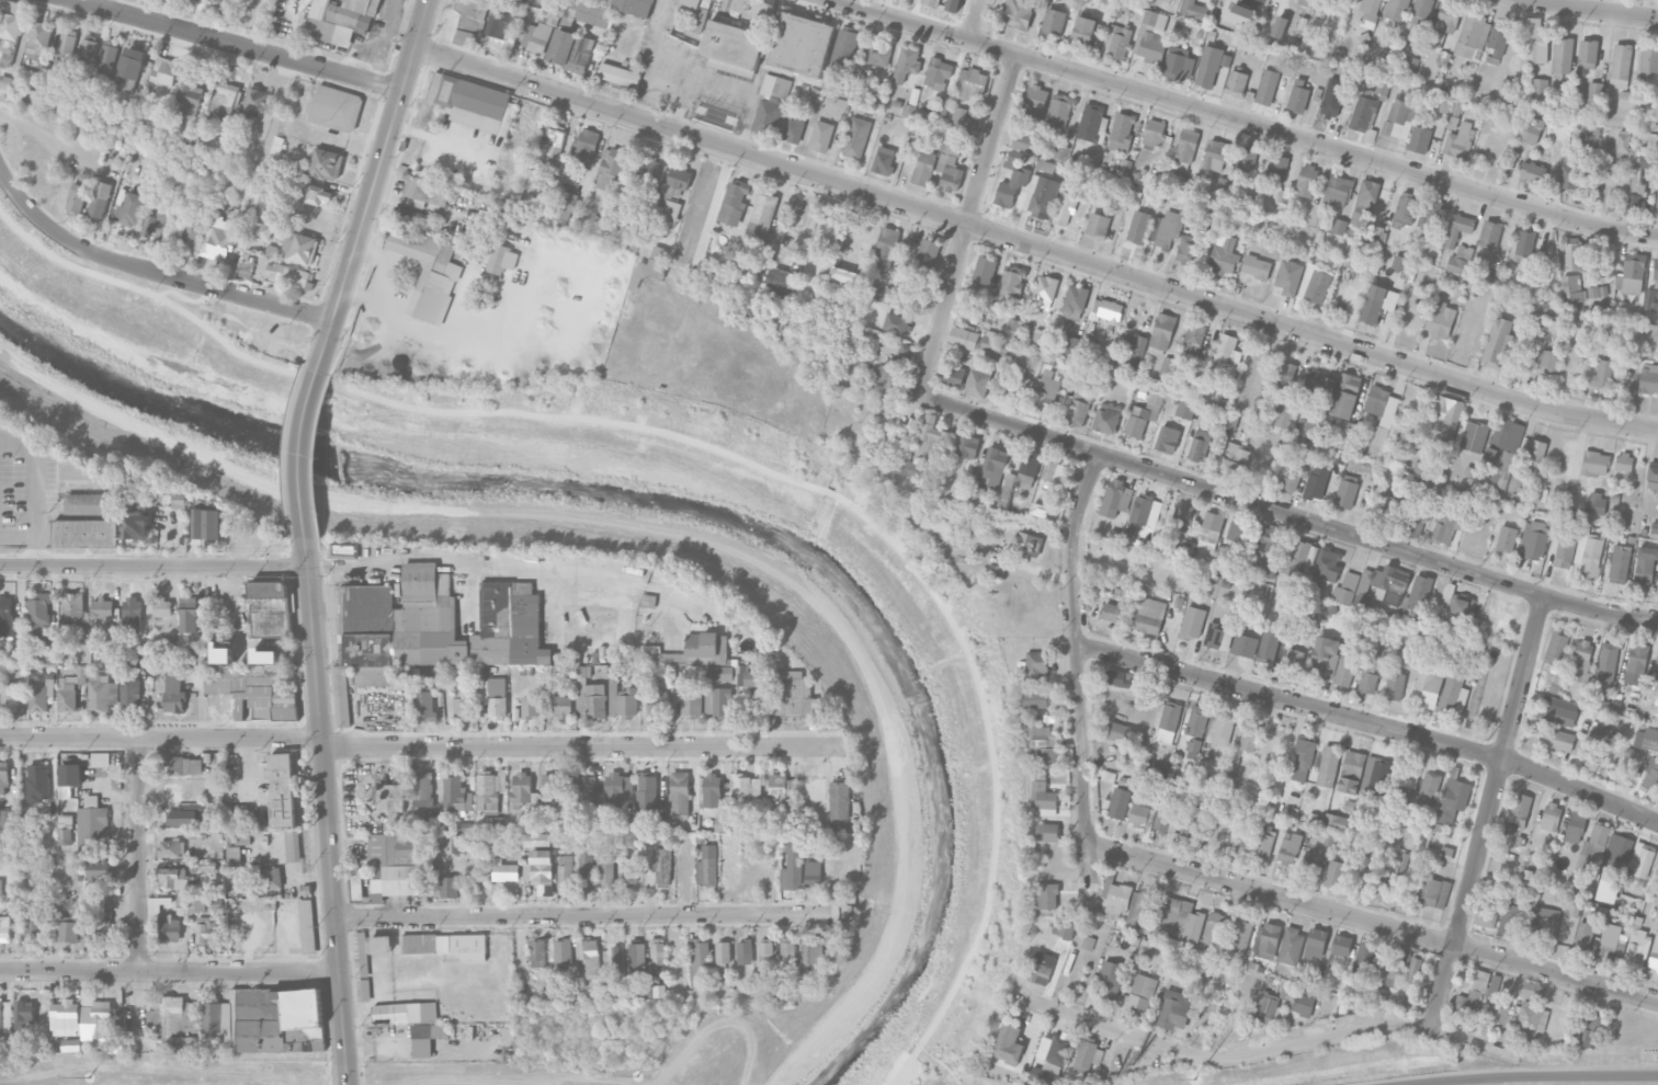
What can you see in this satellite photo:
building: (219, 2)
building: (606, 2)
building: (931, 2)
building: (1306, 2)
building: (635, 7)
building: (1398, 8)
building: (752, 9)
building: (1192, 9)
road: (1593, 9)
building: (1420, 11)
building: (1369, 12)
building: (1018, 13)
building: (693, 14)
building: (1449, 16)
building: (340, 18)
building: (591, 18)
road: (973, 19)
building: (469, 21)
building: (498, 21)
building: (1053, 22)
building: (1279, 26)
building: (11, 28)
building: (1087, 30)
building: (537, 35)
building: (1151, 36)
building: (1473, 36)
building: (1435, 41)
building: (1498, 41)
building: (1115, 42)
building: (1536, 42)
building: (38, 44)
building: (802, 44)
building: (844, 45)
road: (240, 47)
building: (89, 48)
building: (733, 48)
building: (570, 49)
building: (66, 53)
building: (878, 53)
building: (1587, 54)
building: (109, 56)
building: (1563, 57)
building: (1649, 59)
building: (1178, 62)
road: (649, 64)
building: (907, 64)
building: (1411, 64)
building: (1211, 65)
building: (1621, 66)
building: (129, 68)
building: (166, 71)
building: (938, 73)
building: (618, 75)
road: (736, 80)
building: (5, 81)
building: (970, 82)
building: (1236, 83)
building: (1540, 85)
building: (1267, 87)
building: (1594, 89)
building: (191, 93)
building: (1298, 96)
building: (224, 98)
building: (1036, 98)
building: (1625, 98)
building: (474, 102)
building: (254, 103)
building: (771, 104)
building: (1367, 104)
building: (334, 107)
building: (1333, 107)
building: (942, 110)
building: (1059, 110)
road: (678, 115)
building: (1399, 115)
building: (963, 116)
road: (1247, 121)
building: (1091, 123)
road: (1625, 125)
building: (794, 127)
building: (1531, 132)
building: (1122, 133)
building: (1156, 134)
building: (820, 135)
building: (856, 137)
building: (556, 138)
building: (1589, 138)
road: (440, 139)
building: (1024, 139)
building: (1419, 139)
road: (52, 140)
building: (1458, 140)
building: (1622, 144)
building: (1185, 145)
building: (584, 146)
building: (1060, 151)
building: (1215, 155)
building: (1247, 158)
building: (884, 160)
building: (1646, 160)
building: (326, 162)
building: (950, 163)
building: (610, 164)
building: (648, 167)
building: (1276, 167)
building: (923, 168)
building: (1533, 171)
building: (271, 172)
building: (1571, 172)
building: (1011, 180)
building: (1306, 181)
building: (1634, 181)
road: (373, 184)
building: (674, 184)
building: (420, 187)
building: (1337, 191)
building: (1610, 192)
building: (317, 194)
building: (1040, 195)
building: (76, 198)
building: (99, 199)
building: (734, 202)
building: (1632, 203)
building: (1657, 203)
building: (567, 205)
building: (1362, 207)
building: (130, 209)
building: (1065, 209)
building: (1404, 209)
building: (1211, 212)
building: (1429, 214)
building: (668, 217)
building: (761, 217)
road: (967, 224)
building: (154, 225)
building: (1098, 225)
building: (1339, 226)
building: (1138, 227)
building: (1458, 228)
building: (1166, 229)
building: (259, 230)
building: (827, 230)
building: (1490, 235)
building: (189, 239)
building: (220, 239)
building: (1524, 242)
road: (1034, 244)
building: (298, 247)
building: (885, 248)
building: (1188, 250)
building: (658, 252)
building: (927, 254)
building: (1575, 254)
building: (1224, 255)
building: (501, 259)
building: (1460, 260)
building: (1400, 263)
building: (759, 265)
building: (425, 266)
building: (1256, 266)
building: (246, 269)
road: (148, 271)
building: (984, 271)
building: (647, 272)
building: (1490, 273)
building: (1633, 273)
building: (1656, 274)
building: (288, 275)
building: (1288, 276)
building: (841, 277)
road: (530, 282)
building: (780, 282)
building: (1012, 282)
building: (1315, 284)
building: (1572, 289)
building: (1044, 292)
building: (1597, 292)
road: (195, 294)
building: (1076, 298)
building: (1650, 299)
building: (1377, 302)
building: (1105, 310)
building: (1440, 319)
building: (1161, 334)
building: (1040, 336)
building: (1194, 336)
building: (963, 338)
building: (1499, 340)
building: (1069, 344)
building: (896, 353)
building: (1226, 356)
building: (1547, 361)
building: (1165, 368)
building: (954, 375)
building: (1602, 375)
building: (1283, 376)
building: (1648, 378)
building: (978, 380)
building: (884, 382)
building: (1318, 388)
building: (1017, 389)
building: (1045, 392)
building: (1345, 395)
building: (1079, 407)
building: (1185, 409)
building: (1449, 409)
building: (1283, 414)
building: (1143, 415)
building: (1106, 418)
building: (1379, 419)
building: (1310, 426)
building: (932, 430)
building: (1344, 434)
building: (1472, 435)
building: (1167, 438)
building: (1200, 445)
building: (1304, 445)
building: (967, 446)
road: (729, 448)
road: (303, 449)
building: (1503, 452)
building: (1535, 454)
building: (1235, 459)
building: (1595, 462)
building: (1624, 462)
building: (1359, 465)
building: (993, 466)
building: (908, 467)
building: (1424, 469)
building: (1653, 470)
building: (1053, 475)
building: (1020, 477)
building: (1291, 478)
building: (1515, 480)
building: (1316, 483)
building: (1347, 490)
road: (33, 492)
building: (975, 494)
building: (1657, 495)
building: (1115, 498)
building: (181, 501)
building: (1594, 502)
building: (87, 503)
building: (1385, 504)
building: (1143, 509)
road: (1286, 513)
building: (1181, 516)
building: (1449, 521)
building: (205, 523)
building: (1415, 523)
building: (136, 524)
building: (1237, 528)
building: (1654, 528)
building: (1208, 532)
building: (86, 533)
building: (1506, 538)
building: (1268, 539)
building: (1532, 539)
building: (1026, 542)
building: (344, 549)
building: (1565, 549)
road: (35, 550)
building: (1588, 553)
building: (1297, 558)
building: (1619, 563)
building: (1327, 564)
road: (152, 566)
road: (566, 566)
building: (1646, 566)
building: (1263, 567)
building: (1382, 585)
building: (1347, 589)
building: (1420, 591)
building: (162, 607)
building: (270, 607)
building: (73, 608)
building: (104, 608)
building: (1456, 608)
building: (38, 610)
building: (1110, 612)
building: (189, 614)
building: (1148, 615)
building: (7, 616)
building: (132, 617)
building: (1192, 623)
building: (436, 626)
building: (1218, 637)
building: (1245, 644)
building: (1268, 644)
building: (65, 647)
building: (1556, 649)
building: (696, 651)
building: (46, 655)
building: (1324, 655)
building: (140, 659)
building: (193, 659)
building: (1294, 660)
building: (1580, 661)
building: (1608, 662)
building: (1636, 663)
building: (1036, 664)
building: (1345, 664)
road: (1077, 667)
building: (1656, 667)
building: (718, 673)
building: (740, 674)
building: (1117, 677)
building: (753, 678)
building: (1367, 682)
building: (1556, 683)
building: (1428, 684)
building: (1395, 685)
building: (174, 690)
building: (101, 693)
building: (129, 693)
building: (248, 693)
building: (791, 693)
building: (67, 694)
building: (1453, 694)
building: (589, 696)
building: (10, 697)
building: (38, 698)
building: (495, 699)
building: (622, 699)
building: (1036, 699)
building: (463, 703)
building: (718, 703)
building: (658, 704)
building: (425, 706)
building: (531, 706)
building: (563, 706)
building: (692, 706)
building: (1559, 711)
building: (1167, 720)
road: (1370, 721)
building: (1195, 730)
building: (1219, 731)
building: (1118, 732)
road: (160, 736)
building: (1638, 738)
building: (1556, 739)
building: (1650, 739)
road: (579, 744)
building: (1043, 744)
building: (1242, 746)
building: (100, 758)
building: (1303, 758)
building: (183, 765)
building: (1328, 765)
building: (1351, 772)
building: (1376, 774)
building: (1651, 774)
building: (70, 775)
building: (3, 778)
building: (39, 780)
building: (1408, 783)
building: (746, 786)
building: (1430, 786)
building: (617, 787)
building: (522, 788)
building: (586, 788)
building: (282, 789)
building: (424, 789)
building: (552, 789)
building: (780, 789)
building: (488, 791)
building: (646, 793)
building: (679, 793)
building: (1043, 793)
building: (456, 795)
building: (712, 795)
building: (386, 797)
building: (1453, 797)
building: (839, 800)
building: (1118, 803)
road: (326, 808)
building: (1142, 809)
building: (1520, 809)
road: (1487, 812)
building: (239, 813)
building: (1551, 816)
building: (5, 818)
building: (1166, 818)
building: (1194, 820)
building: (527, 822)
building: (1336, 822)
building: (92, 824)
building: (496, 824)
building: (1575, 826)
building: (1048, 832)
building: (535, 836)
building: (1264, 841)
building: (458, 843)
building: (293, 845)
building: (172, 847)
building: (1290, 847)
building: (1590, 849)
building: (1441, 852)
building: (1616, 853)
building: (1642, 858)
building: (1315, 859)
building: (586, 864)
building: (707, 865)
building: (207, 866)
building: (660, 866)
building: (793, 866)
building: (540, 867)
building: (391, 868)
building: (100, 869)
building: (504, 870)
building: (606, 870)
building: (565, 871)
building: (813, 871)
building: (631, 872)
building: (1335, 873)
building: (173, 877)
building: (271, 878)
road: (141, 884)
building: (1384, 886)
building: (448, 887)
building: (0, 889)
building: (1432, 892)
building: (1046, 895)
building: (1115, 898)
building: (196, 904)
building: (1140, 907)
road: (582, 914)
building: (1181, 916)
building: (1485, 917)
building: (33, 920)
building: (1509, 921)
road: (1372, 922)
building: (1540, 923)
building: (209, 924)
building: (100, 926)
building: (4, 928)
building: (169, 928)
building: (1064, 928)
building: (1215, 928)
building: (68, 930)
building: (1583, 935)
building: (1238, 938)
building: (1268, 939)
building: (1316, 943)
building: (1611, 943)
building: (379, 944)
building: (446, 945)
building: (1291, 945)
building: (1341, 945)
road: (521, 947)
building: (1637, 948)
building: (813, 949)
building: (743, 951)
building: (765, 951)
building: (785, 951)
building: (536, 952)
building: (723, 952)
building: (561, 955)
building: (1654, 955)
building: (589, 956)
building: (657, 956)
building: (636, 957)
building: (699, 959)
building: (1364, 961)
building: (1042, 968)
building: (1396, 968)
building: (1413, 970)
road: (169, 972)
building: (362, 979)
building: (1109, 980)
building: (1481, 987)
building: (1140, 992)
building: (1301, 1004)
building: (1267, 1007)
building: (7, 1009)
building: (1176, 1009)
building: (405, 1013)
building: (1499, 1013)
building: (1, 1016)
building: (24, 1016)
building: (1532, 1017)
building: (65, 1018)
building: (99, 1020)
building: (280, 1020)
building: (217, 1021)
building: (173, 1023)
building: (1590, 1031)
building: (428, 1038)
building: (1009, 1044)
building: (1059, 1049)
road: (1268, 1051)
building: (1088, 1055)
building: (1040, 1074)
road: (1523, 1075)

